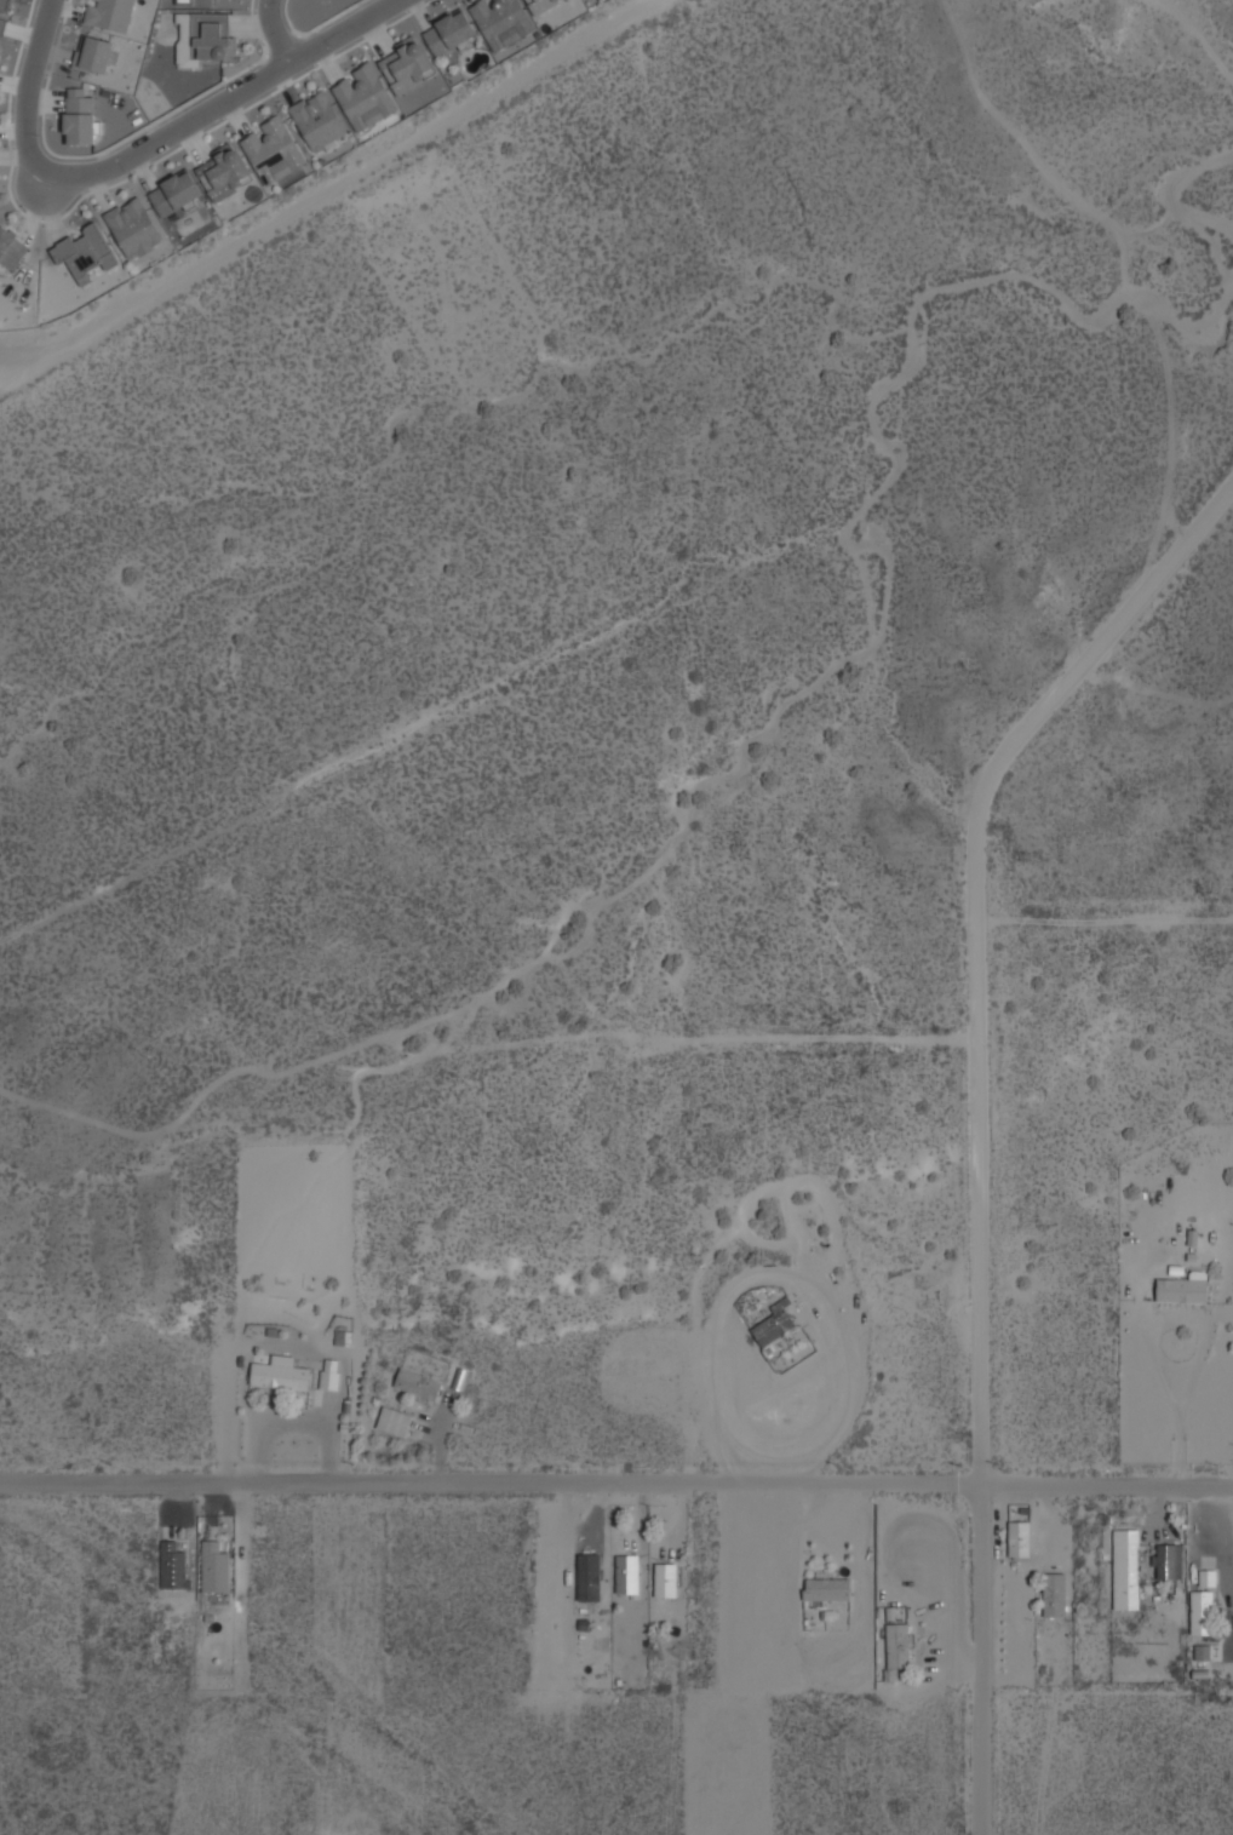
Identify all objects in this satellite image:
building: (4, 13)
building: (109, 13)
building: (506, 18)
road: (275, 31)
building: (451, 33)
building: (203, 38)
building: (96, 53)
building: (408, 65)
building: (365, 96)
building: (80, 114)
building: (319, 120)
road: (147, 147)
building: (273, 148)
building: (225, 171)
road: (329, 190)
building: (176, 191)
building: (133, 226)
building: (11, 247)
building: (84, 251)
road: (1103, 635)
road: (1103, 919)
building: (1183, 1286)
road: (980, 1312)
building: (775, 1323)
building: (281, 1372)
building: (331, 1374)
building: (419, 1383)
building: (395, 1420)
road: (616, 1484)
building: (1020, 1539)
building: (1169, 1560)
building: (173, 1564)
building: (214, 1566)
building: (1128, 1567)
building: (550, 1570)
building: (666, 1573)
building: (627, 1575)
building: (589, 1576)
building: (1206, 1577)
building: (827, 1587)
building: (1055, 1593)
building: (1202, 1611)
building: (897, 1644)
building: (1202, 1652)

